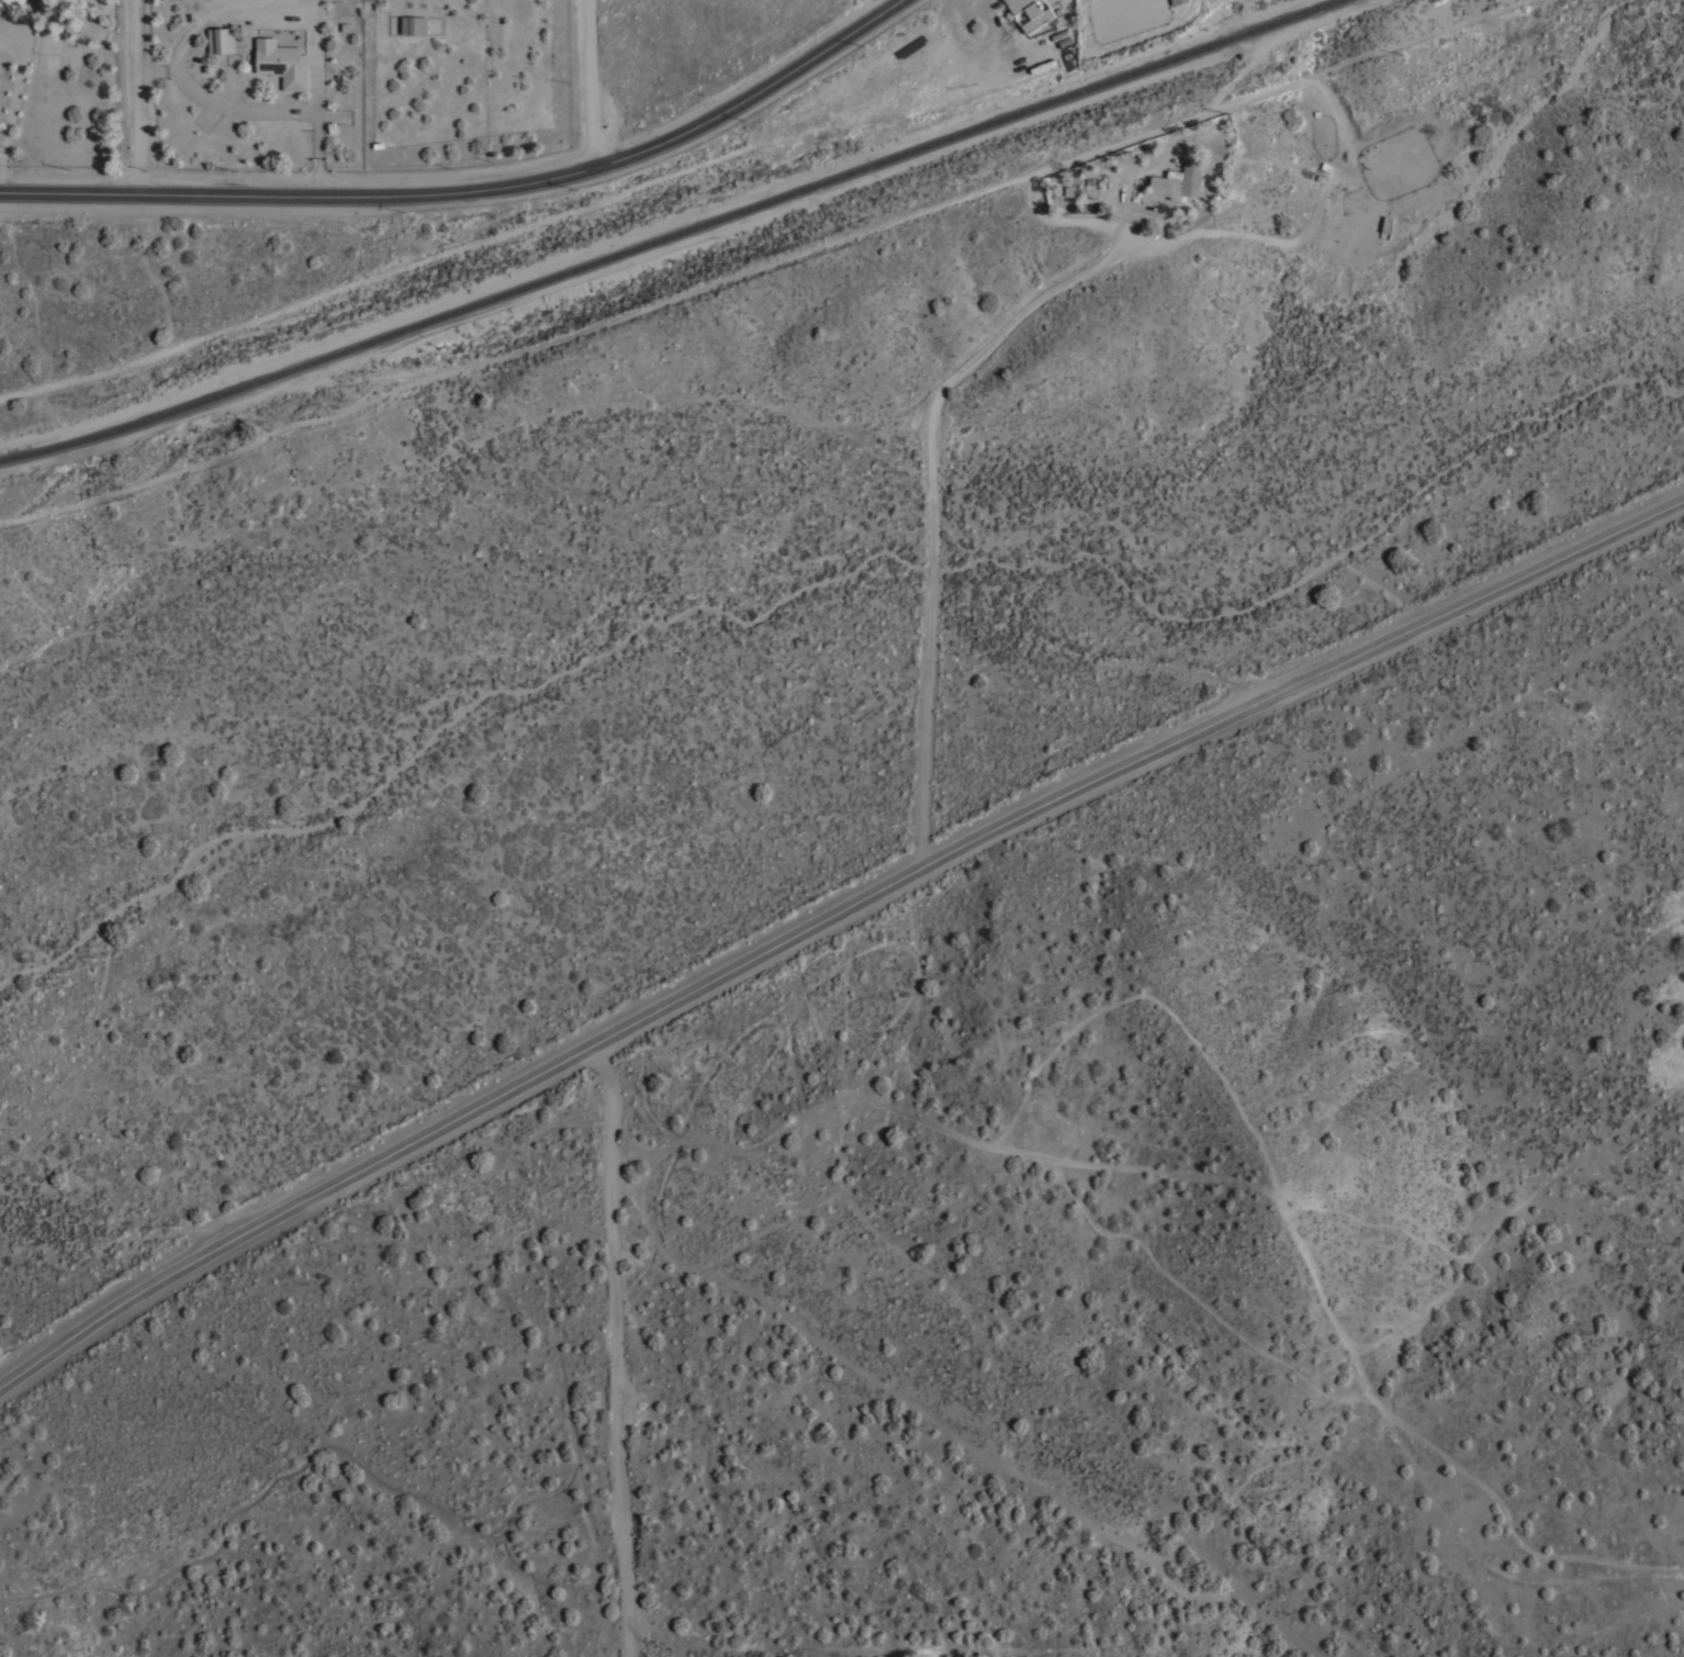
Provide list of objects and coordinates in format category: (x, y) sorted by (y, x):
building: (1176, 1)
building: (1031, 12)
building: (414, 25)
building: (221, 40)
building: (281, 61)
road: (592, 82)
road: (14, 96)
road: (132, 97)
road: (220, 102)
road: (317, 136)
building: (1179, 179)
road: (473, 192)
railway: (675, 235)
road: (931, 501)
road: (827, 917)
road: (617, 1347)
road: (628, 1654)

